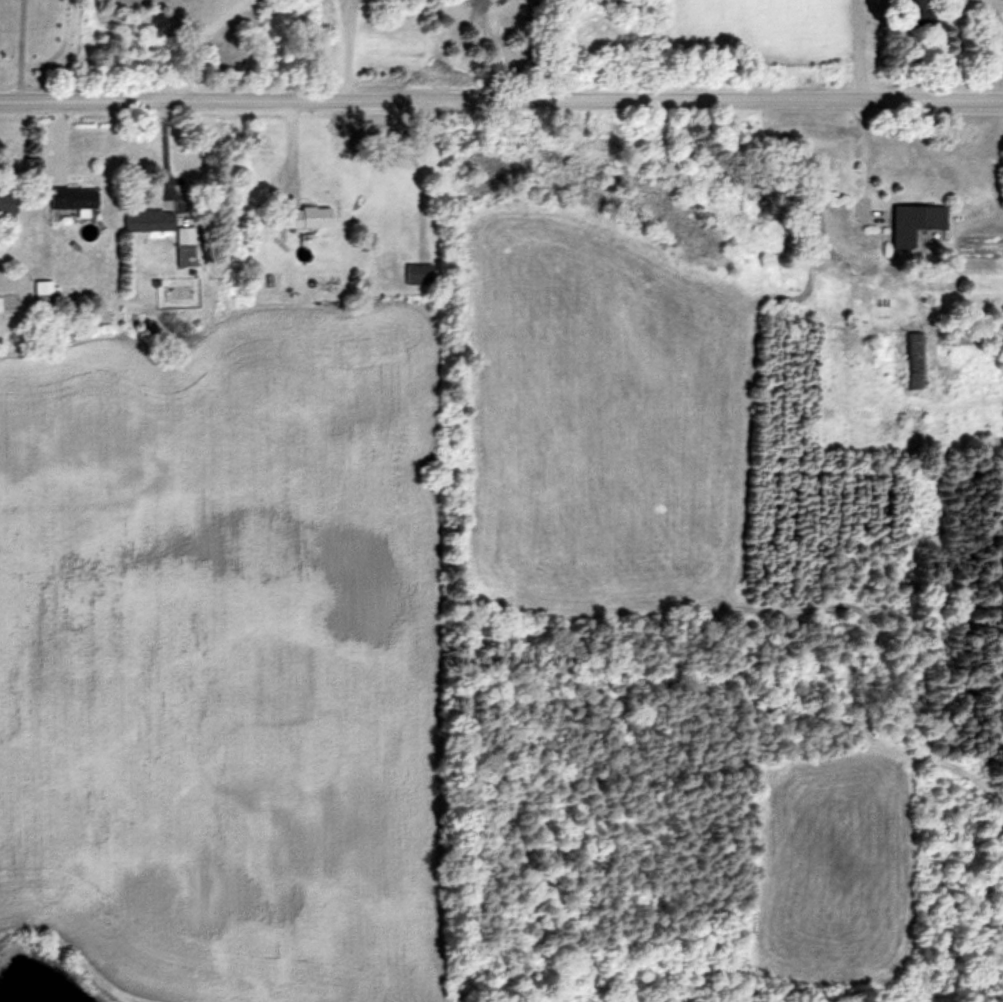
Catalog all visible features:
road: (949, 47)
road: (20, 48)
road: (348, 48)
road: (501, 97)
building: (65, 195)

